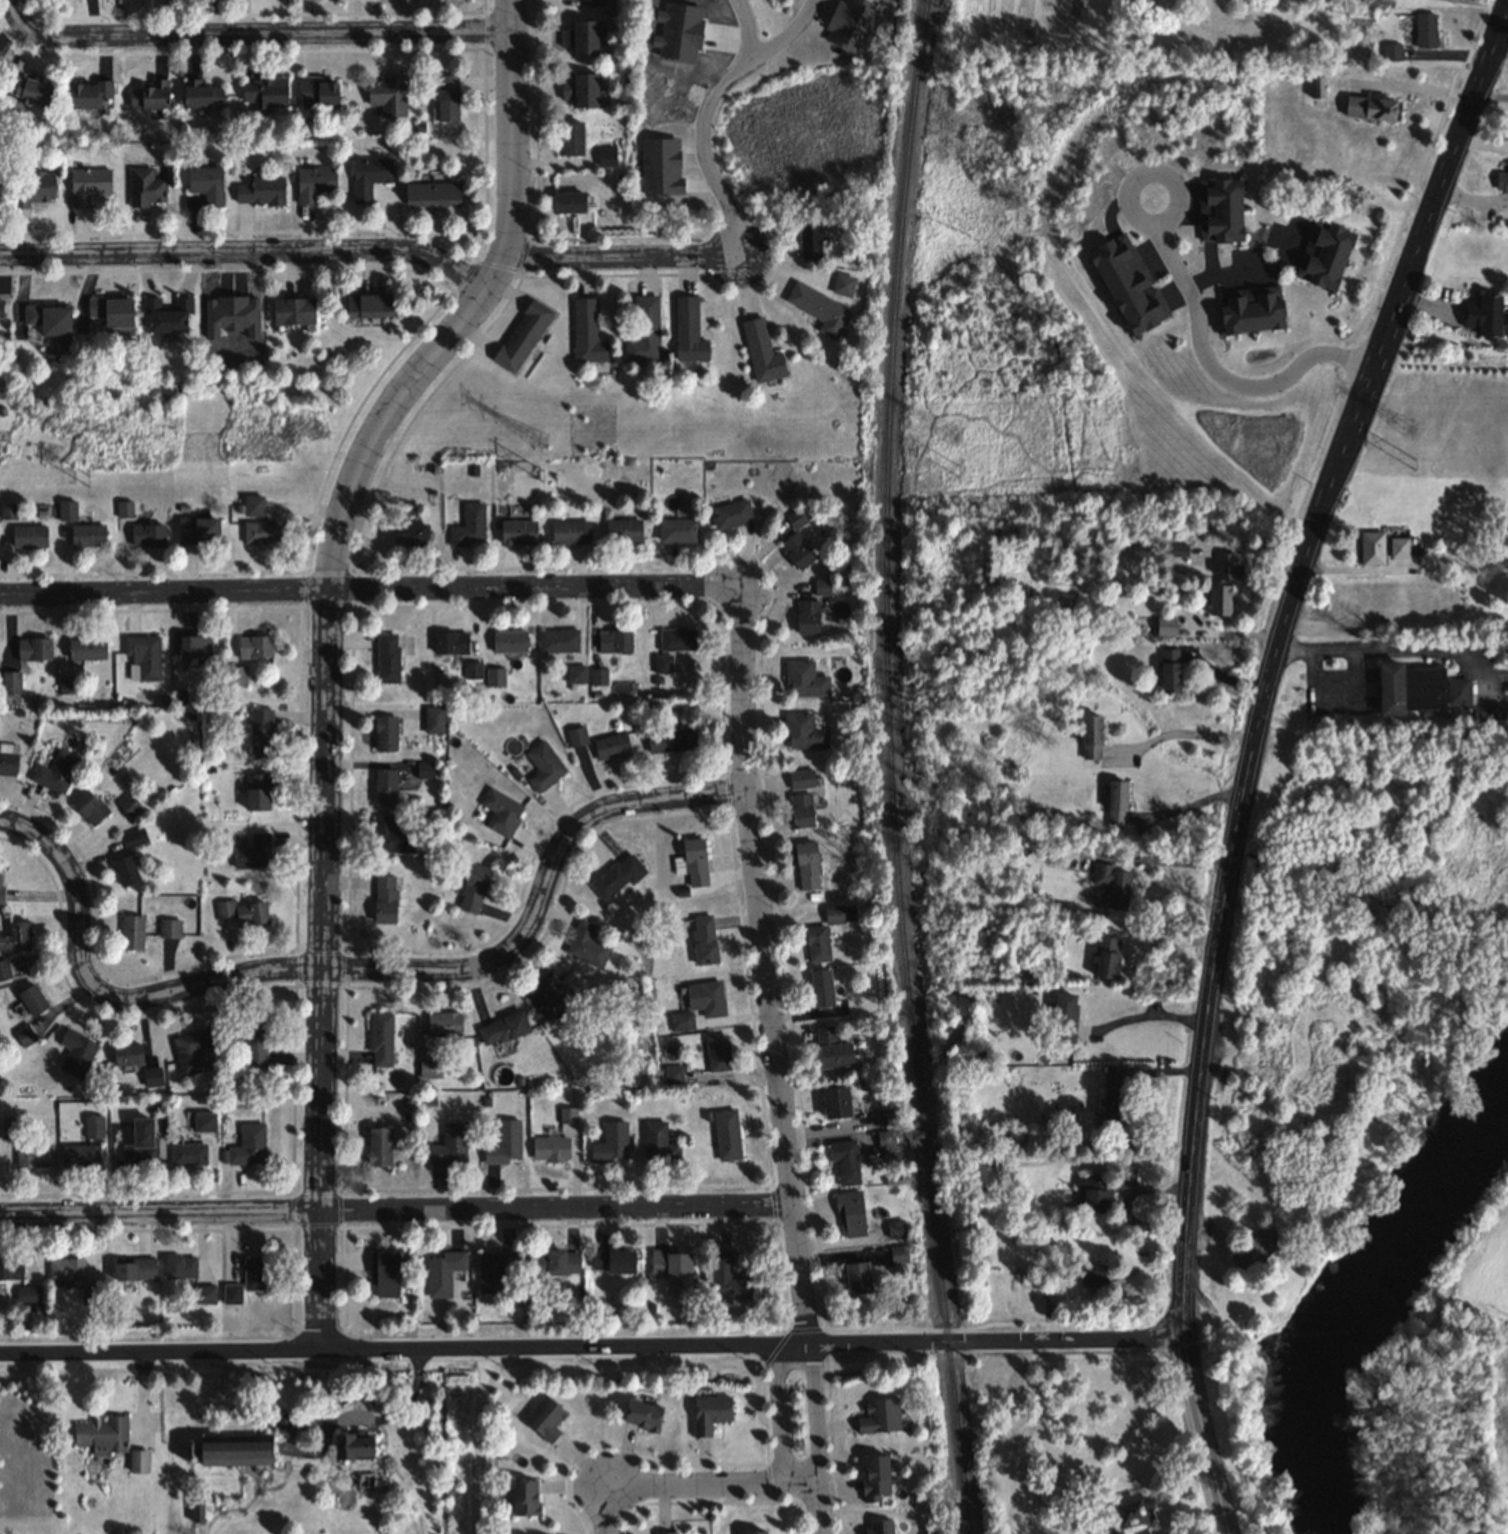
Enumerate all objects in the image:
building: (596, 3)
road: (507, 16)
road: (25, 24)
building: (1426, 33)
road: (279, 35)
building: (580, 39)
building: (1391, 54)
road: (747, 63)
building: (1318, 90)
building: (581, 91)
building: (24, 92)
building: (265, 93)
building: (317, 94)
building: (88, 96)
road: (1489, 96)
building: (150, 97)
building: (202, 97)
building: (388, 97)
building: (447, 100)
building: (1372, 111)
building: (1506, 130)
building: (571, 140)
building: (605, 157)
road: (705, 162)
building: (369, 178)
building: (1502, 183)
building: (314, 185)
building: (207, 186)
building: (88, 187)
building: (33, 190)
building: (146, 190)
building: (261, 192)
building: (432, 195)
building: (569, 204)
building: (1220, 212)
building: (809, 244)
road: (247, 253)
road: (620, 256)
building: (1325, 257)
road: (1252, 270)
building: (1128, 286)
building: (843, 287)
building: (92, 308)
building: (369, 308)
building: (1, 311)
building: (819, 311)
building: (1251, 312)
building: (293, 313)
building: (1484, 317)
building: (167, 318)
building: (118, 319)
building: (49, 324)
building: (644, 332)
building: (688, 333)
building: (587, 334)
building: (523, 337)
building: (762, 354)
road: (1208, 367)
power tower: (1408, 430)
power tower: (953, 437)
power tower: (539, 443)
power tower: (84, 448)
power tower: (1413, 464)
power tower: (957, 471)
power tower: (542, 477)
power tower: (89, 482)
building: (253, 508)
building: (67, 511)
building: (8, 512)
building: (732, 515)
building: (469, 527)
building: (198, 531)
building: (678, 531)
building: (623, 532)
building: (518, 533)
building: (570, 533)
building: (261, 534)
building: (407, 535)
building: (87, 536)
building: (147, 536)
building: (29, 537)
building: (797, 544)
building: (1399, 548)
building: (1372, 549)
building: (1228, 568)
building: (822, 589)
road: (368, 594)
building: (1220, 601)
building: (808, 619)
building: (1165, 628)
building: (677, 640)
building: (558, 641)
building: (509, 642)
building: (615, 642)
building: (450, 644)
building: (194, 647)
building: (255, 648)
road: (1410, 648)
building: (86, 649)
building: (34, 650)
building: (143, 659)
building: (388, 660)
road: (326, 664)
building: (663, 666)
building: (1169, 672)
building: (576, 675)
building: (237, 677)
building: (494, 678)
building: (598, 678)
building: (804, 681)
building: (11, 683)
building: (1418, 690)
building: (434, 721)
road: (1184, 732)
building: (803, 734)
building: (261, 735)
building: (385, 735)
building: (576, 738)
building: (1091, 738)
building: (671, 742)
building: (611, 747)
road: (1250, 750)
building: (543, 767)
railway: (886, 767)
building: (424, 772)
building: (56, 773)
building: (801, 780)
building: (385, 789)
building: (257, 793)
building: (1116, 804)
building: (129, 806)
road: (1188, 806)
building: (89, 808)
building: (801, 812)
building: (501, 813)
building: (391, 836)
building: (134, 839)
building: (253, 854)
road: (1159, 862)
building: (693, 863)
building: (807, 867)
building: (125, 871)
building: (617, 878)
building: (0, 885)
building: (1113, 886)
building: (473, 890)
building: (384, 901)
building: (242, 914)
building: (839, 915)
building: (169, 929)
building: (132, 934)
building: (16, 938)
building: (704, 941)
building: (817, 945)
building: (586, 946)
building: (1107, 959)
road: (763, 966)
road: (353, 967)
building: (4, 971)
building: (821, 990)
building: (548, 999)
building: (706, 999)
building: (32, 1001)
road: (1146, 1016)
building: (1065, 1018)
building: (444, 1025)
building: (503, 1029)
building: (24, 1036)
building: (381, 1040)
building: (254, 1043)
building: (832, 1051)
building: (191, 1052)
building: (76, 1054)
building: (718, 1054)
building: (128, 1056)
building: (430, 1070)
building: (152, 1078)
building: (1110, 1100)
building: (836, 1104)
building: (204, 1124)
building: (93, 1128)
building: (10, 1129)
building: (726, 1137)
building: (504, 1145)
building: (611, 1145)
building: (658, 1145)
building: (140, 1146)
building: (450, 1147)
building: (248, 1148)
building: (379, 1148)
building: (550, 1151)
building: (188, 1156)
building: (34, 1157)
building: (79, 1158)
building: (844, 1165)
building: (1096, 1196)
road: (394, 1208)
building: (850, 1216)
building: (895, 1231)
building: (1256, 1251)
building: (899, 1256)
building: (556, 1264)
building: (613, 1264)
building: (671, 1265)
river: (1351, 1267)
building: (180, 1269)
building: (134, 1270)
building: (11, 1271)
building: (66, 1271)
building: (495, 1272)
building: (1094, 1274)
building: (254, 1275)
building: (443, 1275)
building: (387, 1276)
building: (858, 1279)
building: (729, 1281)
building: (27, 1296)
building: (204, 1296)
building: (232, 1296)
building: (1017, 1301)
road: (590, 1345)
road: (811, 1411)
road: (776, 1413)
building: (710, 1415)
building: (642, 1418)
building: (879, 1418)
building: (545, 1420)
building: (103, 1437)
road: (478, 1440)
building: (353, 1448)
building: (235, 1452)
building: (875, 1479)
road: (683, 1482)
building: (525, 1499)
road: (813, 1507)
building: (1131, 1514)
building: (880, 1528)
building: (766, 1533)

